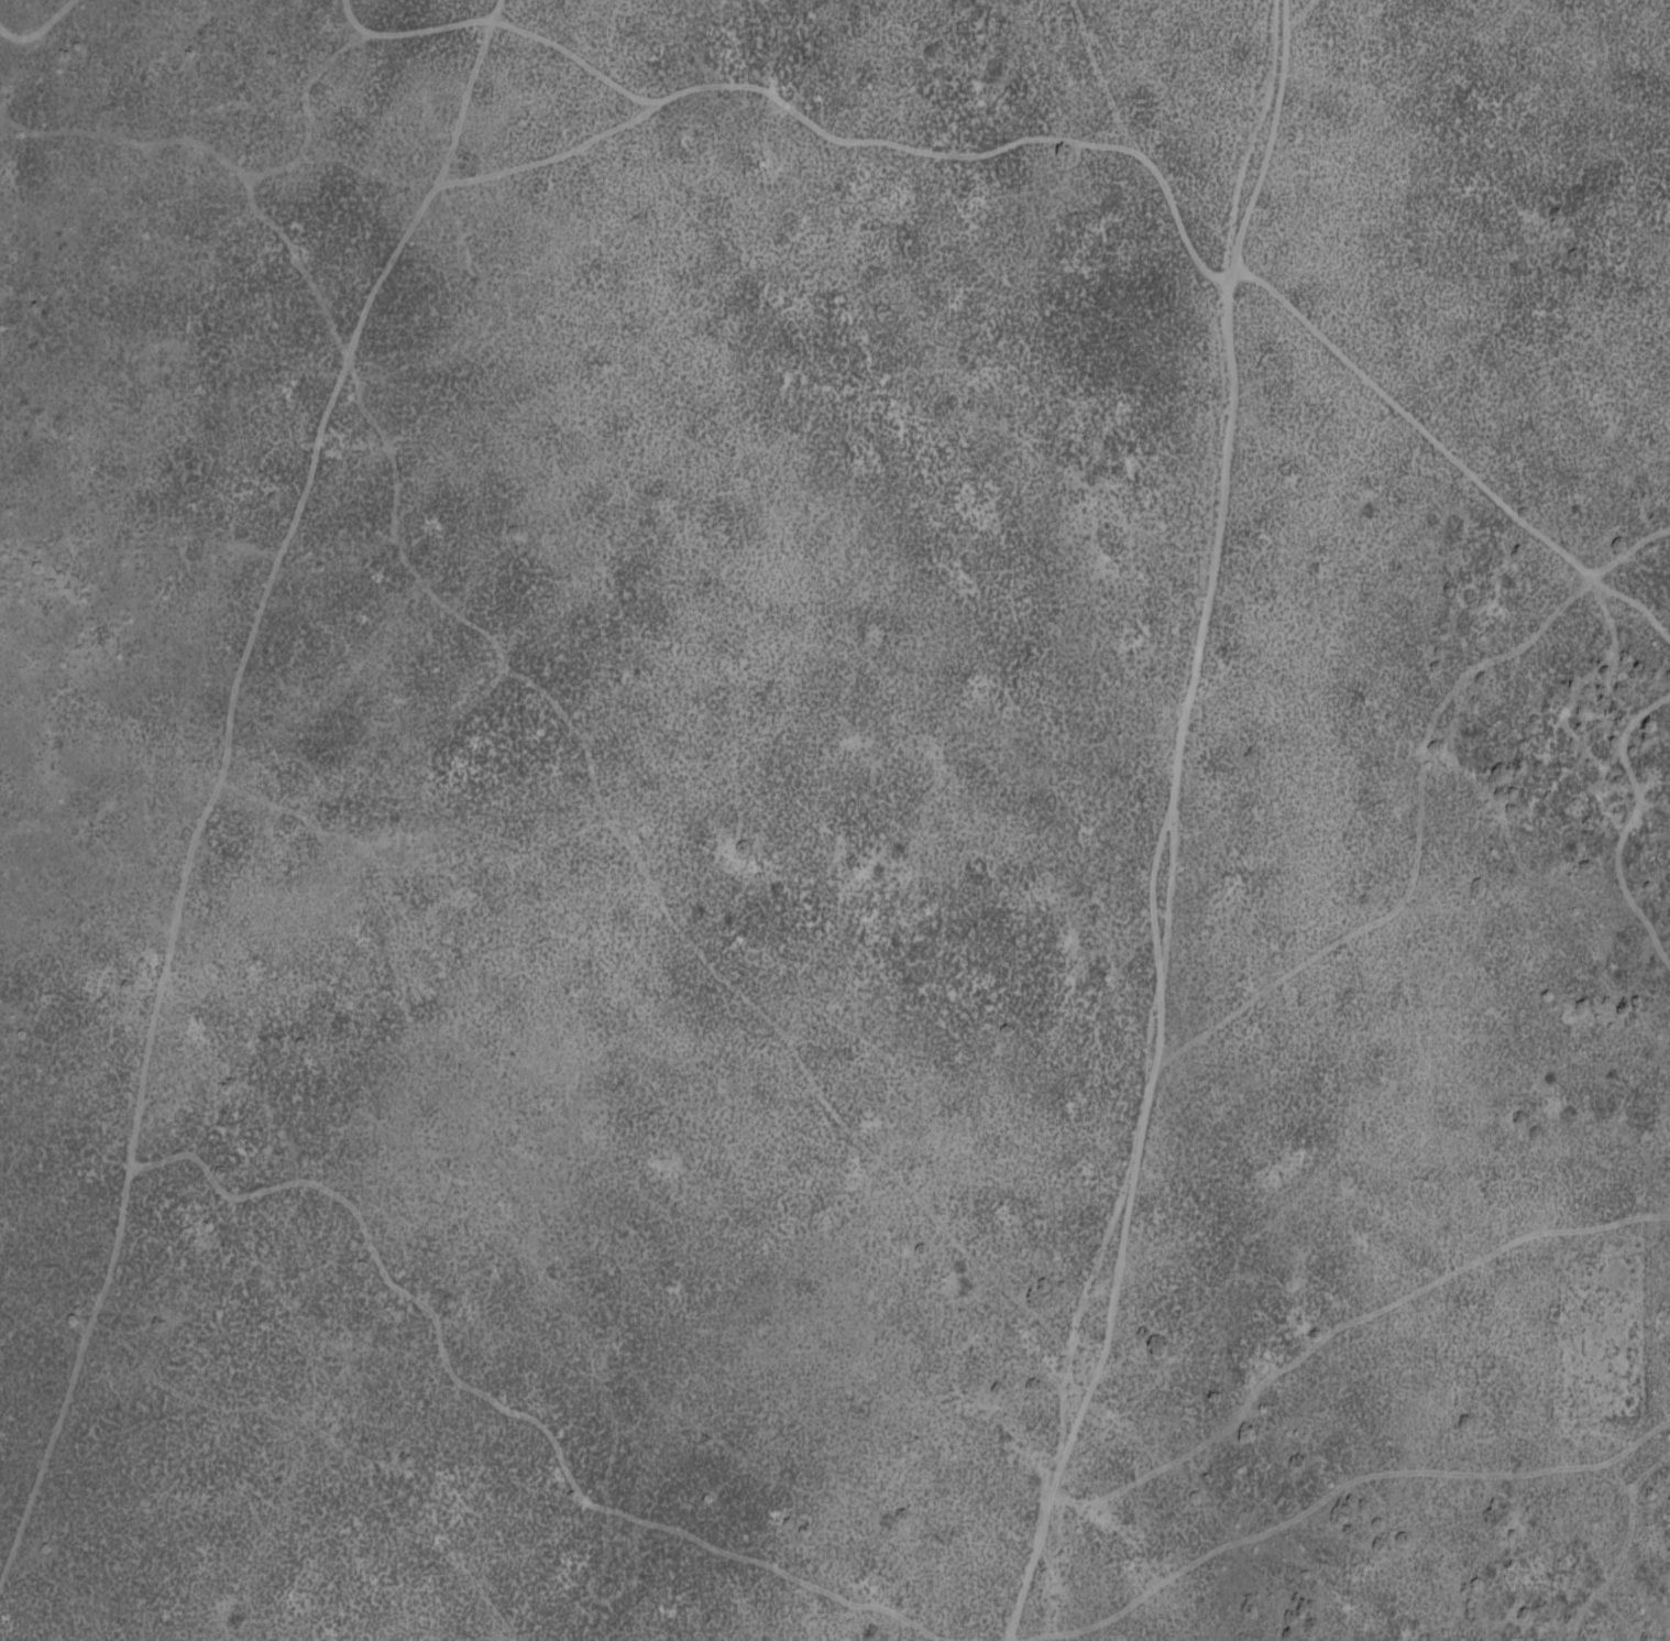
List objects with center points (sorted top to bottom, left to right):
road: (1234, 827)

